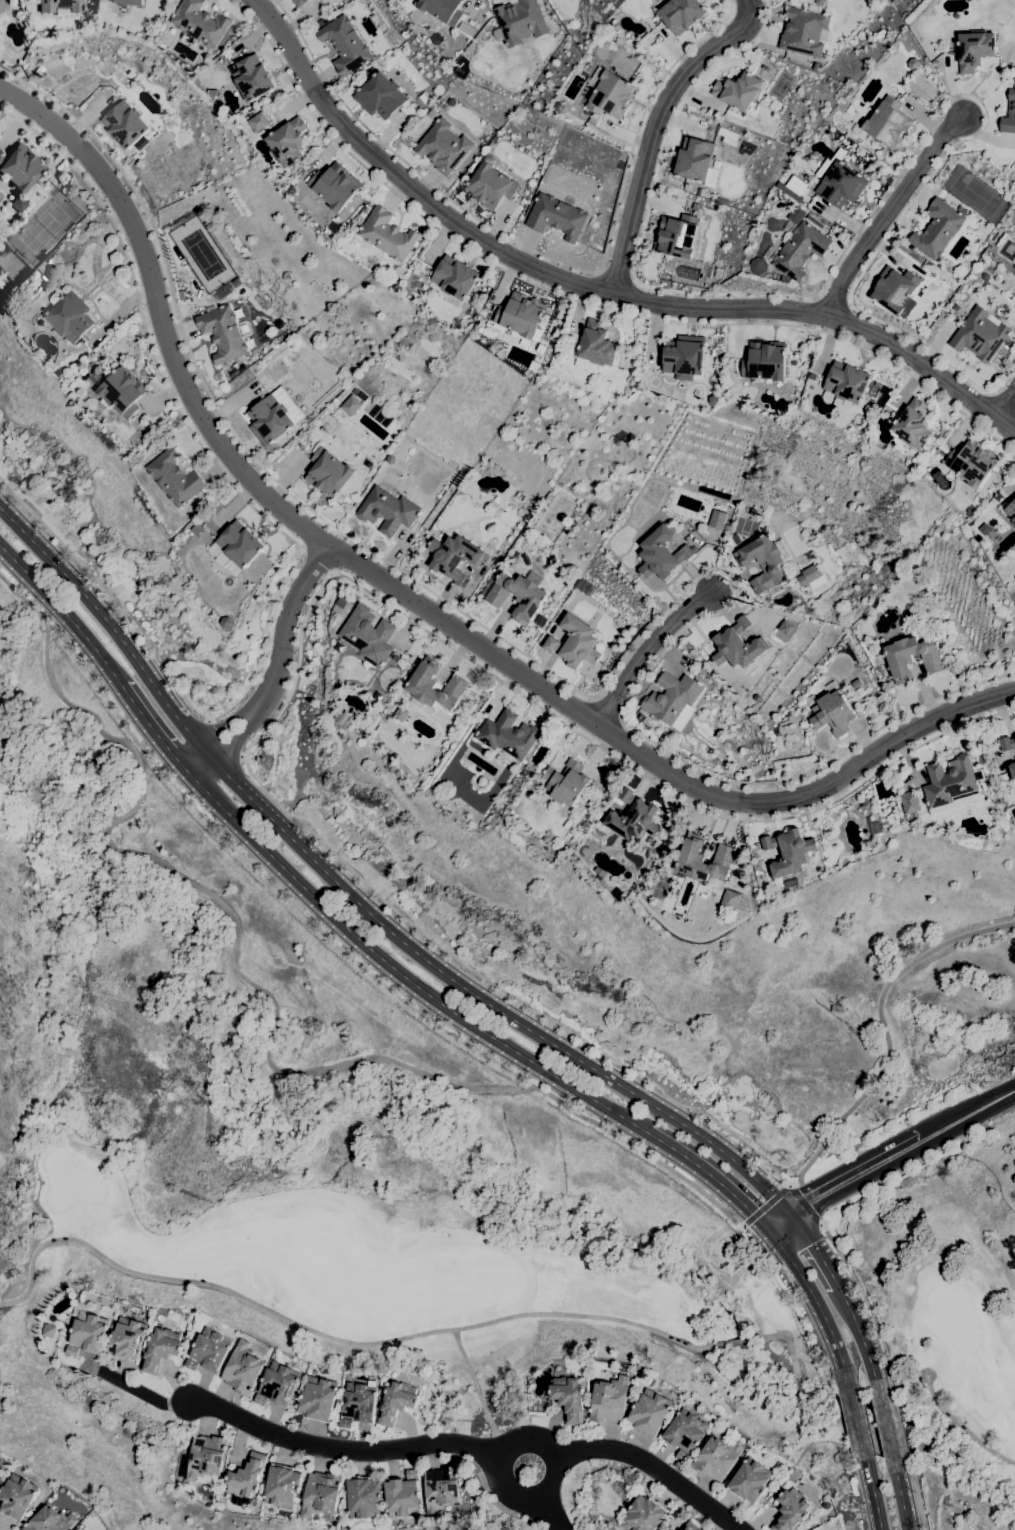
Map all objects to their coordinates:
building: (126, 2)
building: (299, 2)
building: (820, 2)
building: (2, 4)
building: (60, 5)
building: (443, 10)
building: (61, 12)
building: (682, 14)
building: (375, 20)
building: (520, 21)
building: (199, 23)
building: (318, 24)
building: (573, 24)
building: (805, 31)
building: (641, 37)
building: (345, 46)
building: (385, 47)
building: (591, 50)
building: (974, 50)
building: (217, 62)
building: (913, 64)
building: (815, 66)
building: (765, 68)
building: (39, 70)
building: (252, 78)
building: (738, 91)
building: (213, 93)
building: (609, 93)
building: (380, 96)
building: (775, 105)
building: (559, 107)
building: (431, 114)
building: (1009, 115)
building: (259, 122)
building: (886, 123)
building: (125, 124)
road: (656, 131)
building: (287, 142)
building: (444, 146)
building: (695, 159)
building: (473, 165)
building: (19, 167)
building: (280, 180)
building: (840, 182)
building: (491, 185)
building: (334, 186)
building: (800, 187)
building: (291, 190)
building: (1012, 190)
park: (974, 194)
road: (877, 204)
building: (696, 207)
road: (889, 212)
building: (556, 217)
building: (334, 227)
building: (938, 228)
building: (387, 235)
building: (677, 236)
building: (1002, 240)
building: (356, 244)
park: (1007, 249)
building: (800, 250)
road: (539, 253)
building: (757, 266)
building: (959, 271)
building: (719, 273)
road: (617, 276)
building: (984, 276)
building: (453, 280)
building: (706, 285)
road: (592, 289)
building: (896, 291)
road: (580, 301)
building: (955, 307)
building: (521, 315)
building: (69, 318)
building: (920, 323)
building: (222, 333)
building: (980, 335)
building: (505, 342)
building: (595, 347)
building: (543, 357)
building: (684, 357)
building: (764, 362)
building: (84, 376)
building: (813, 376)
building: (847, 382)
building: (122, 391)
building: (713, 400)
building: (871, 403)
building: (90, 404)
road: (1007, 407)
building: (347, 410)
building: (380, 415)
building: (274, 417)
building: (95, 421)
building: (913, 425)
building: (875, 432)
building: (156, 449)
building: (391, 460)
building: (972, 462)
building: (328, 473)
building: (174, 478)
building: (388, 511)
building: (752, 511)
building: (1011, 511)
building: (208, 519)
building: (716, 519)
building: (197, 529)
building: (984, 529)
building: (806, 534)
building: (718, 535)
road: (288, 538)
building: (736, 539)
building: (236, 548)
building: (661, 554)
building: (454, 557)
road: (316, 561)
building: (517, 563)
building: (765, 563)
building: (811, 577)
building: (518, 595)
road: (414, 601)
building: (341, 604)
building: (560, 610)
road: (64, 613)
building: (555, 618)
building: (226, 622)
road: (110, 628)
building: (784, 631)
road: (299, 633)
building: (367, 636)
building: (766, 637)
building: (575, 643)
building: (741, 645)
building: (338, 647)
road: (645, 649)
road: (281, 657)
building: (394, 658)
building: (899, 658)
road: (563, 680)
building: (421, 684)
building: (377, 696)
building: (672, 697)
building: (831, 711)
building: (398, 715)
building: (639, 716)
building: (343, 718)
building: (683, 718)
road: (155, 730)
building: (508, 735)
road: (223, 739)
building: (1007, 743)
road: (200, 765)
building: (1012, 773)
building: (473, 783)
building: (566, 783)
building: (951, 785)
building: (908, 802)
building: (866, 805)
building: (633, 818)
building: (518, 826)
building: (873, 829)
building: (544, 839)
building: (788, 852)
building: (703, 859)
building: (599, 872)
road: (269, 880)
building: (792, 883)
building: (730, 900)
road: (401, 974)
road: (265, 995)
road: (487, 1002)
road: (883, 1025)
road: (969, 1113)
road: (711, 1175)
road: (857, 1176)
road: (803, 1202)
road: (766, 1206)
traffic signals: (753, 1214)
road: (778, 1222)
road: (816, 1251)
park: (544, 1277)
road: (816, 1301)
road: (867, 1304)
building: (88, 1329)
building: (48, 1331)
road: (862, 1338)
building: (128, 1339)
building: (160, 1349)
building: (211, 1349)
building: (71, 1350)
building: (191, 1365)
building: (242, 1369)
building: (279, 1383)
building: (568, 1398)
building: (318, 1399)
building: (610, 1399)
building: (260, 1400)
building: (359, 1402)
building: (397, 1402)
building: (650, 1412)
building: (436, 1416)
road: (857, 1418)
building: (345, 1423)
road: (884, 1426)
road: (961, 1427)
building: (686, 1431)
road: (903, 1432)
road: (286, 1437)
building: (682, 1456)
building: (718, 1457)
building: (206, 1459)
road: (656, 1471)
building: (412, 1474)
building: (246, 1480)
building: (750, 1481)
road: (561, 1485)
building: (282, 1486)
building: (440, 1490)
road: (873, 1491)
building: (320, 1494)
road: (900, 1495)
building: (17, 1496)
building: (364, 1497)
building: (402, 1498)
road: (917, 1498)
road: (500, 1508)
building: (791, 1509)
building: (66, 1512)
building: (644, 1515)
road: (549, 1517)
building: (50, 1520)
building: (692, 1526)
building: (77, 1529)

